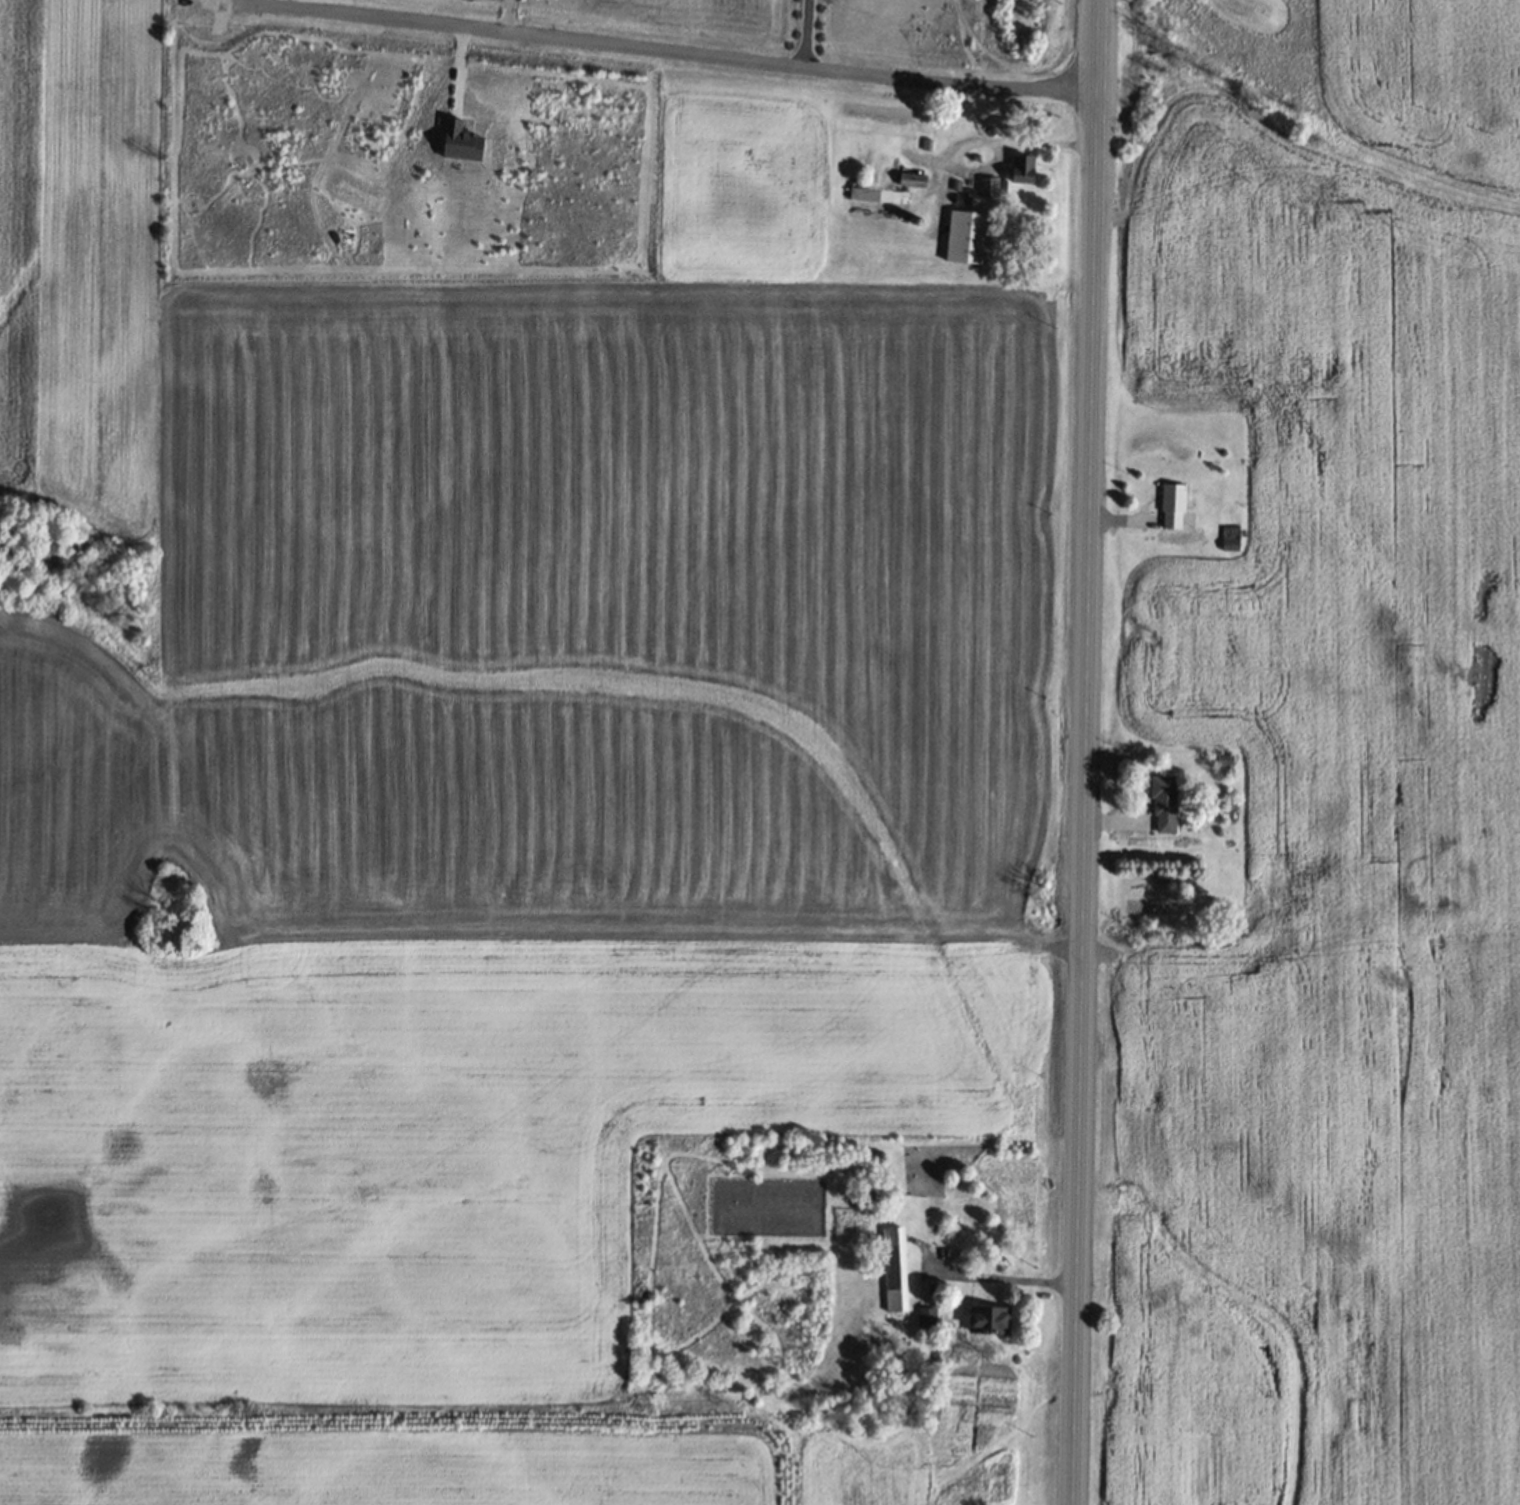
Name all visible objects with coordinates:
road: (655, 46)
building: (1023, 168)
building: (913, 179)
building: (988, 187)
building: (878, 198)
building: (967, 236)
building: (1173, 505)
road: (1086, 752)
building: (1223, 760)
building: (1164, 802)
building: (895, 1269)
road: (1016, 1278)
building: (929, 1318)
building: (989, 1320)

